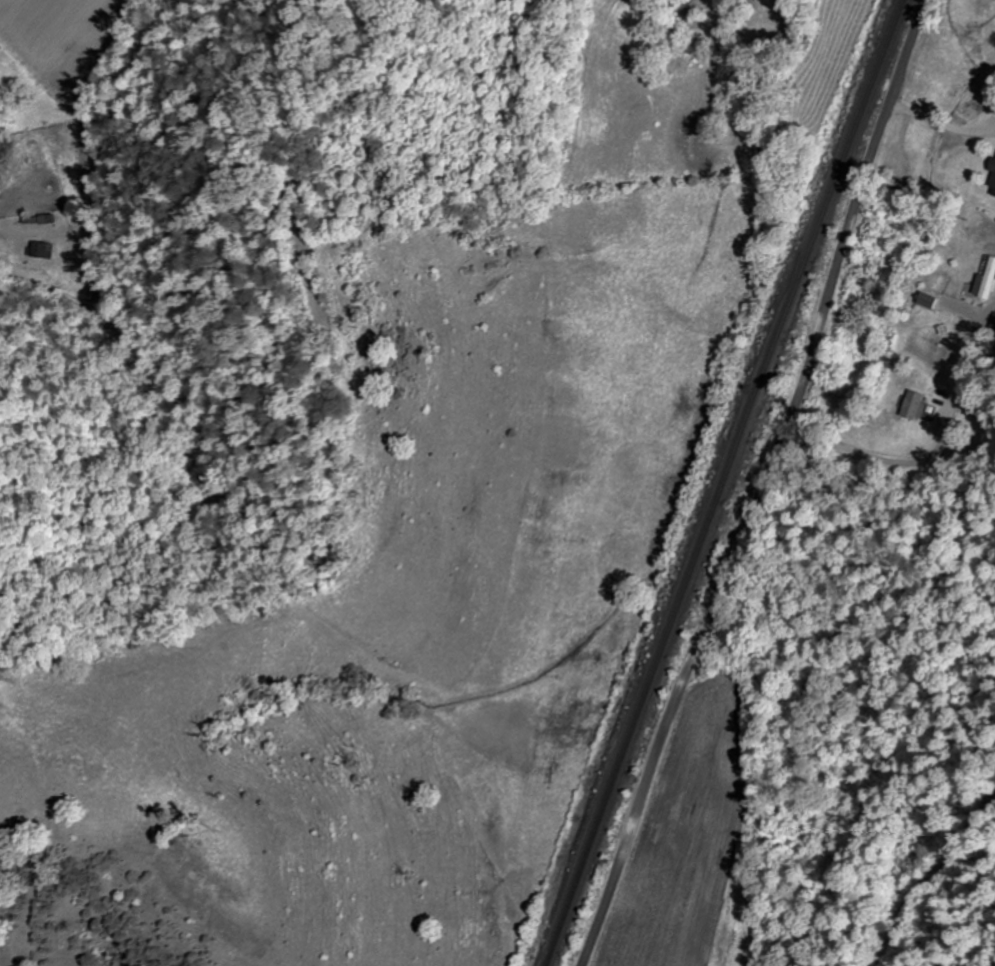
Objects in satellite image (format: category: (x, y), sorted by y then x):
building: (991, 176)
building: (35, 251)
building: (939, 276)
building: (985, 281)
building: (925, 301)
building: (912, 406)
railway: (723, 482)
road: (761, 485)

